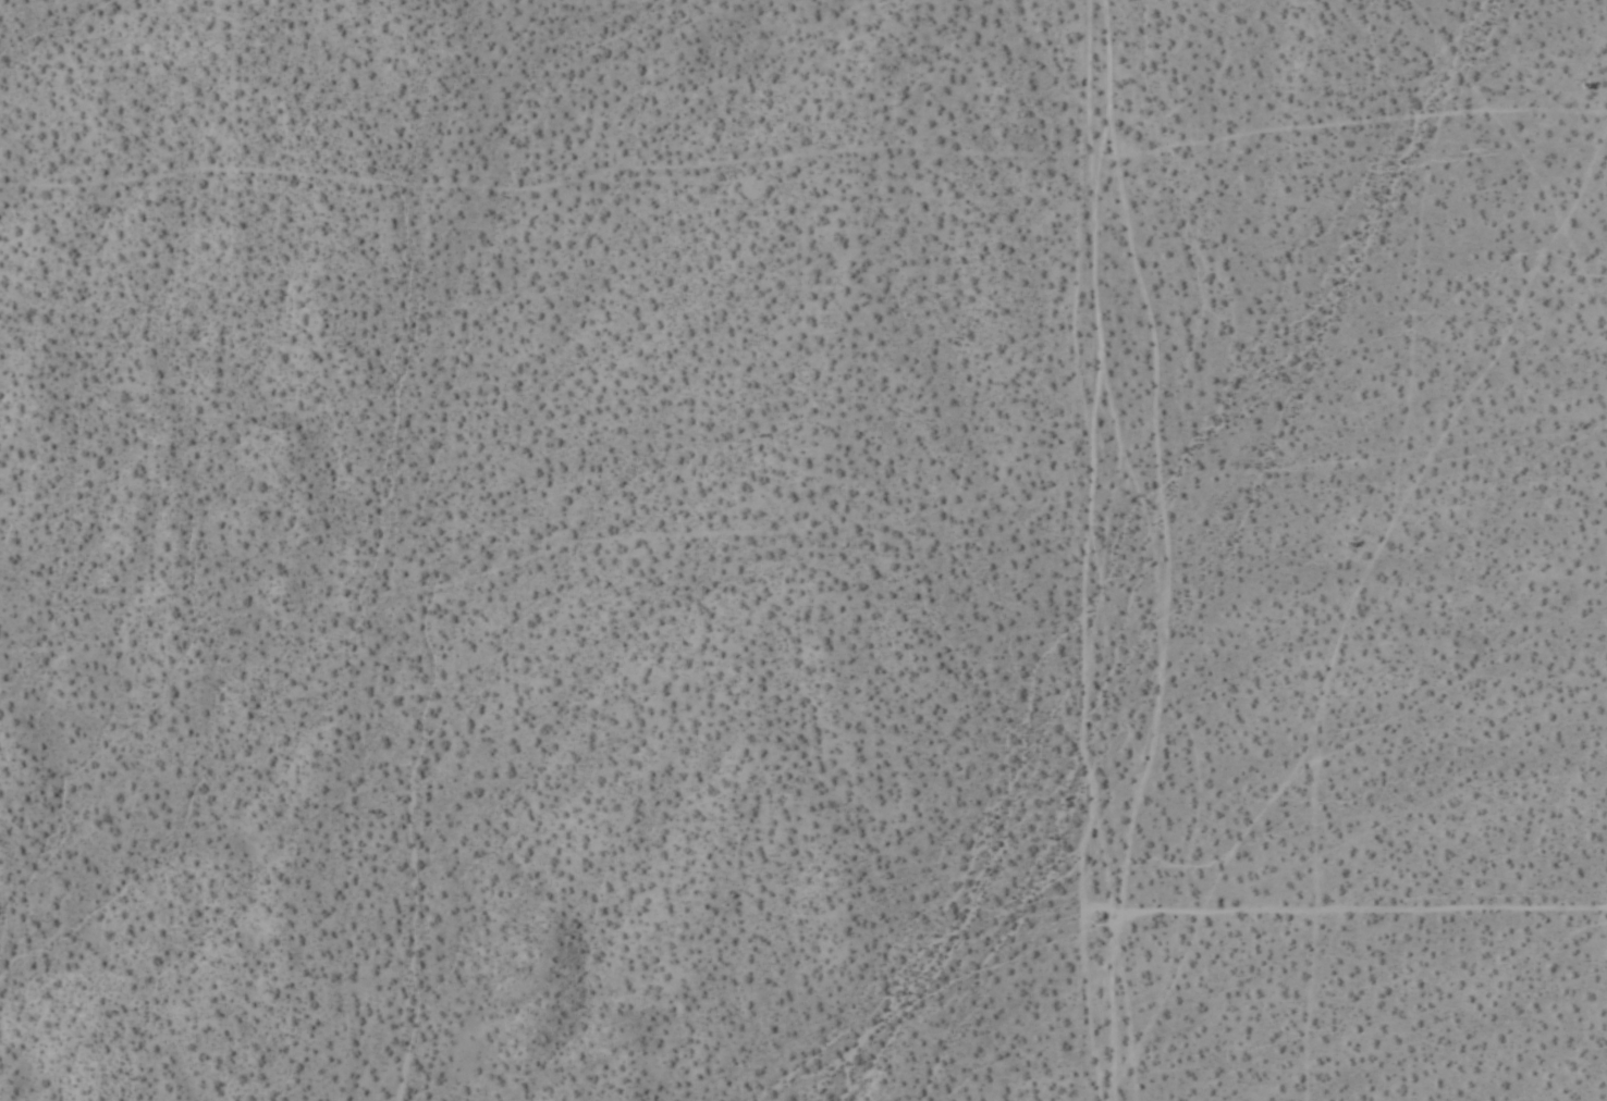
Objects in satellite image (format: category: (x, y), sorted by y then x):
crop: (1379, 547)

